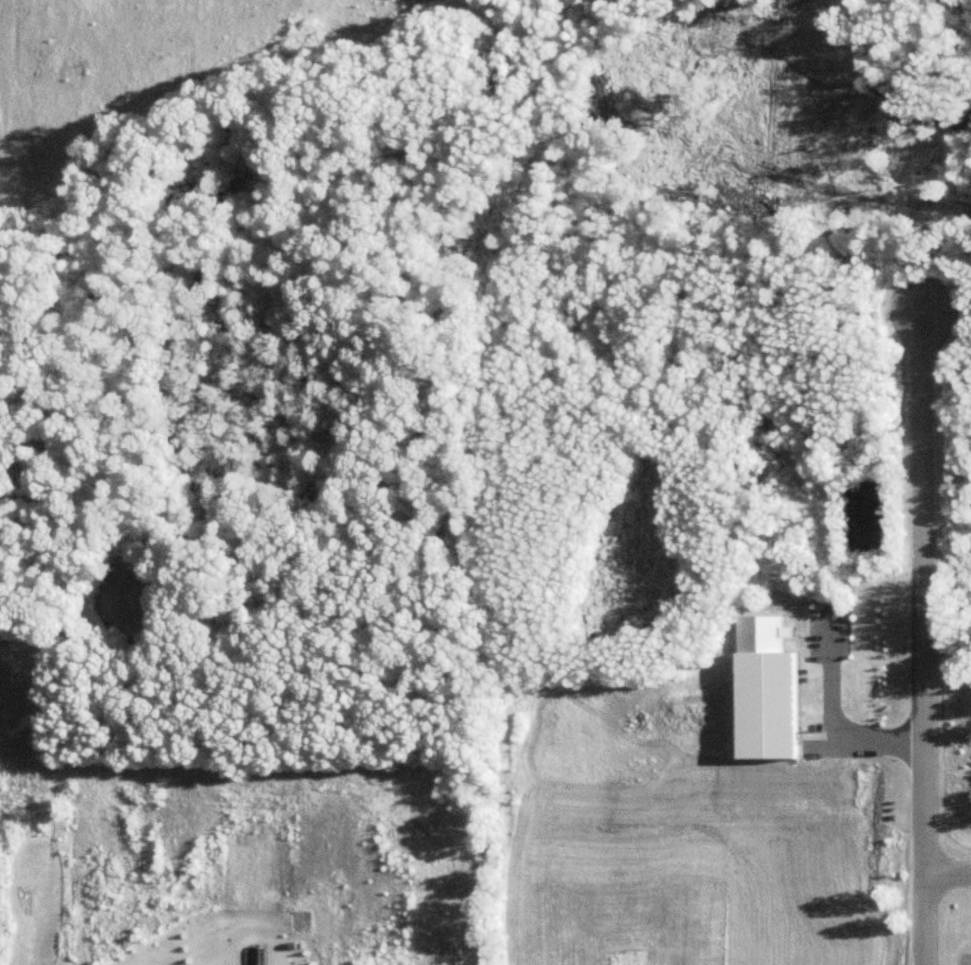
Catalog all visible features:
road: (788, 177)
road: (917, 261)
road: (918, 636)
building: (765, 691)
road: (831, 714)
road: (945, 869)
parking lot: (965, 958)

